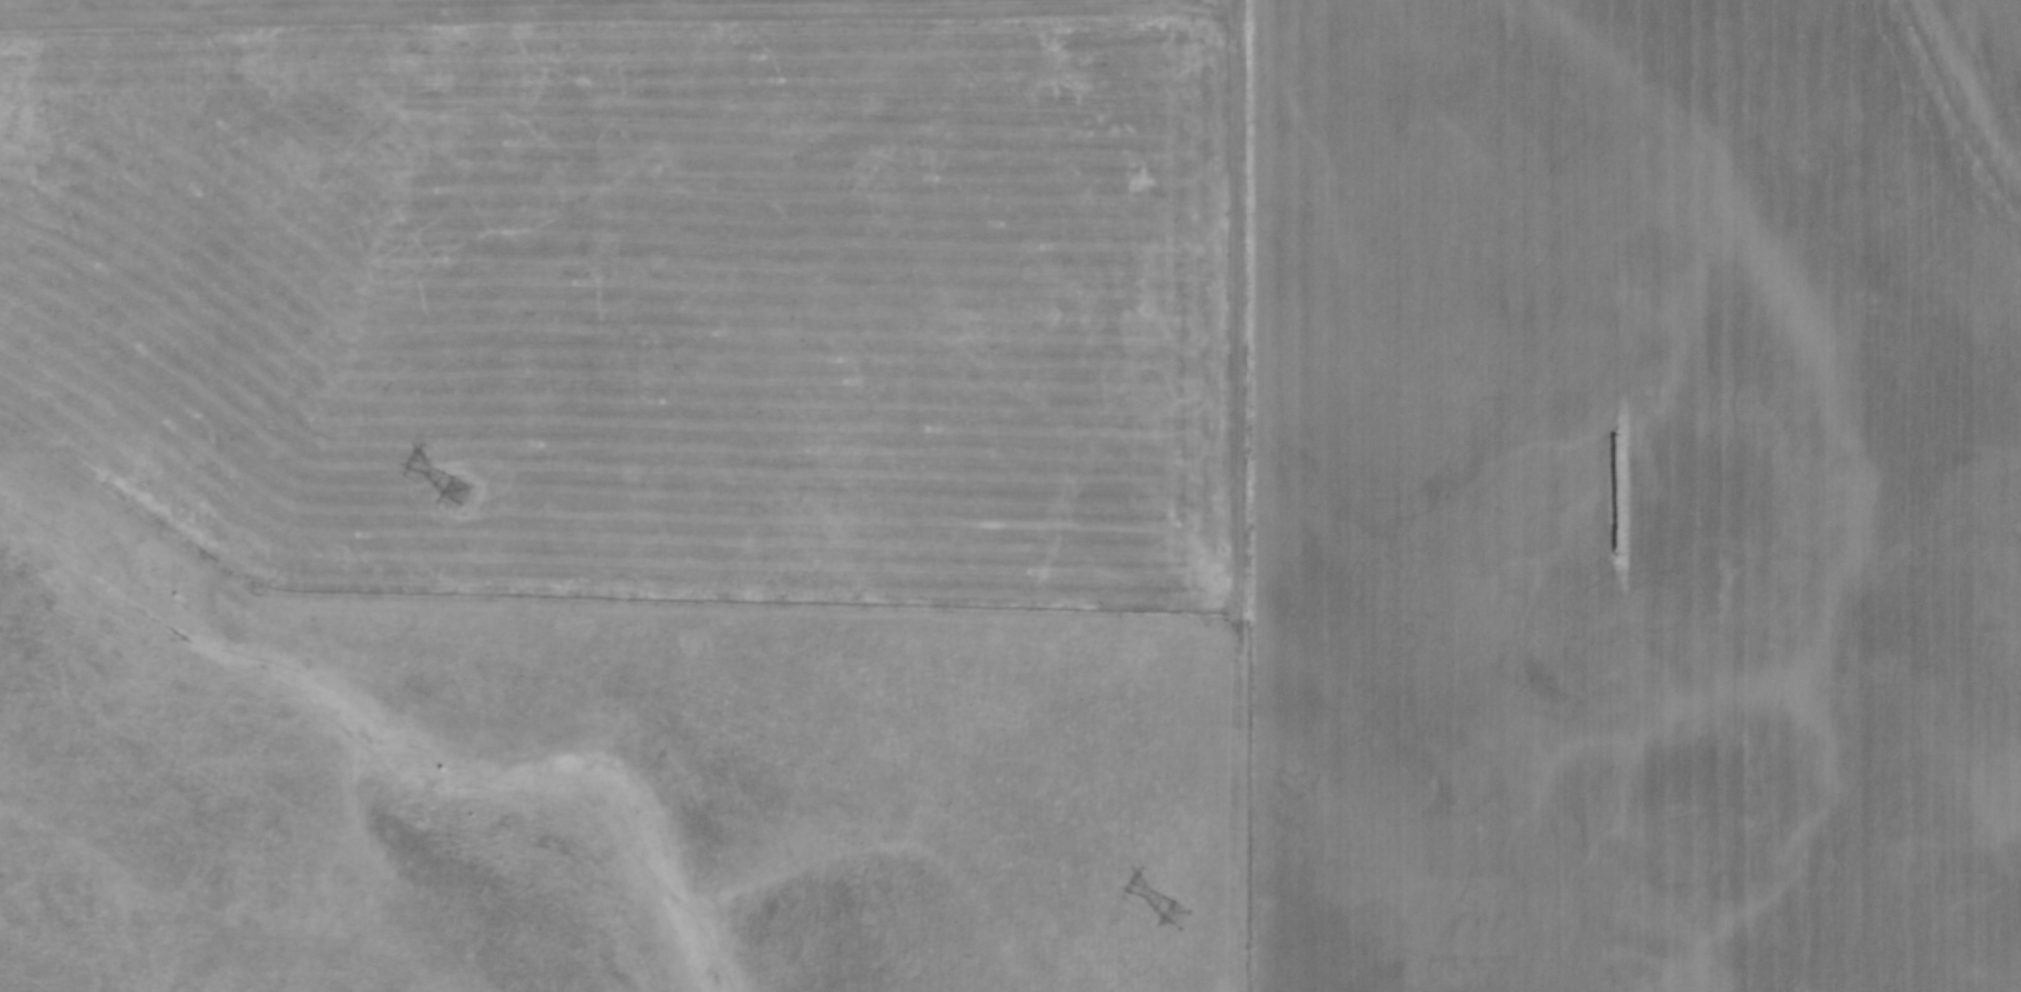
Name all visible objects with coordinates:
power tower: (465, 503)
power tower: (1185, 929)

